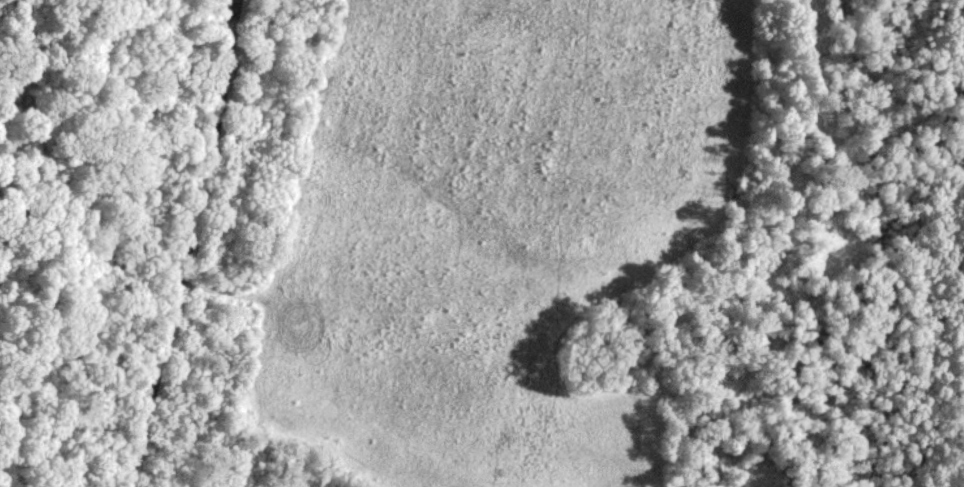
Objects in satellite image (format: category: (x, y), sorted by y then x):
road: (190, 244)

